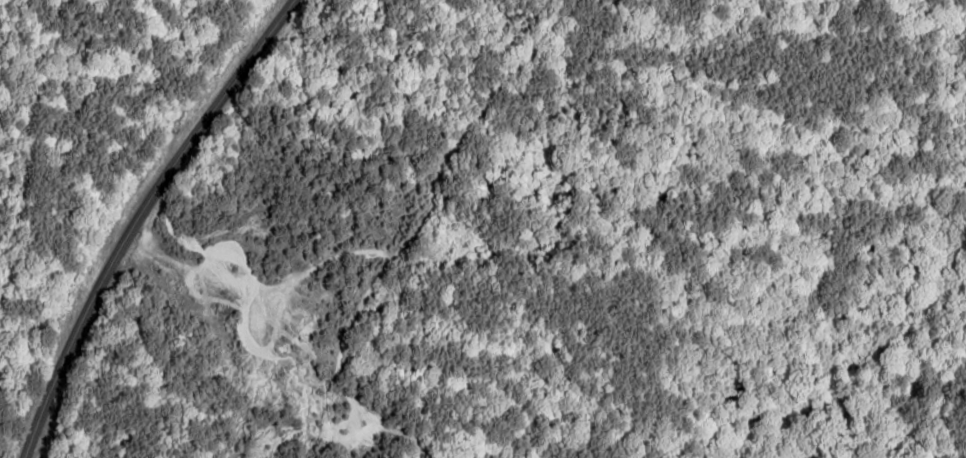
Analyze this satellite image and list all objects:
road: (136, 215)

